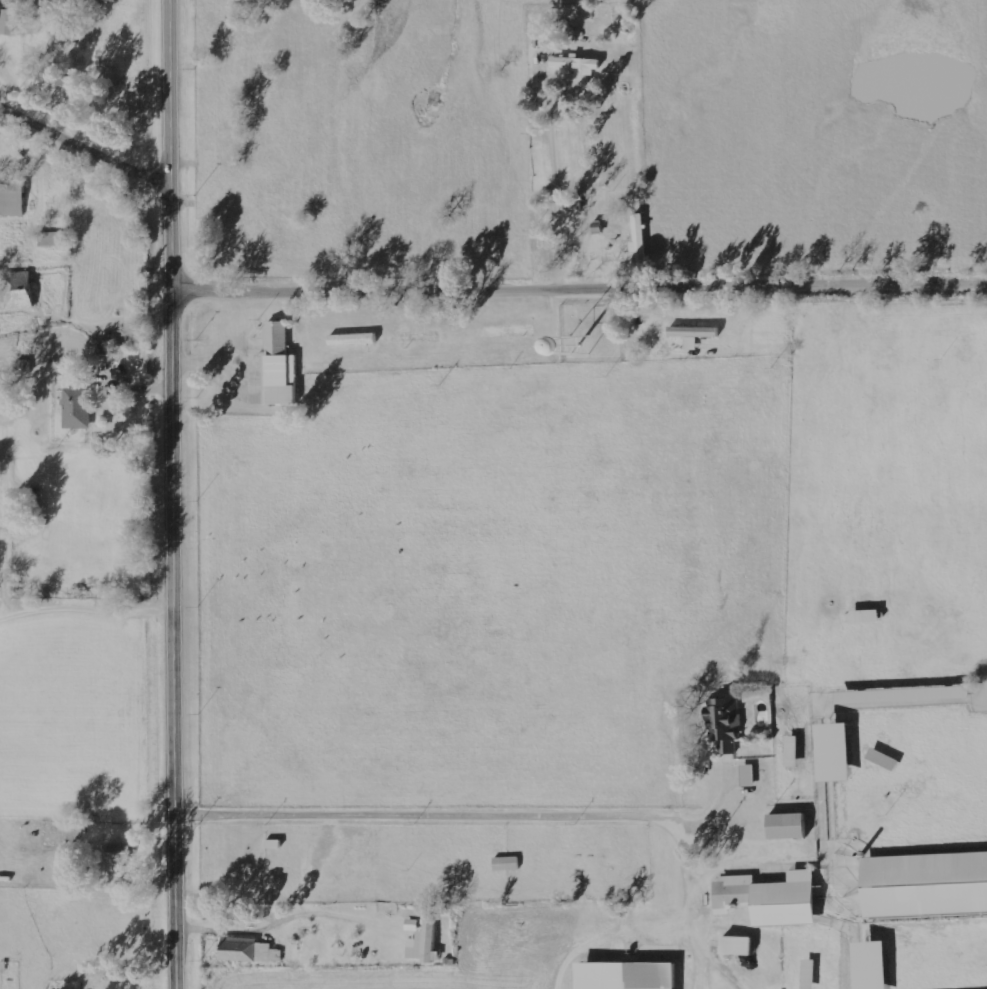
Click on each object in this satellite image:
building: (2, 17)
building: (12, 23)
building: (579, 65)
road: (84, 150)
building: (13, 200)
building: (55, 239)
building: (639, 243)
road: (581, 292)
building: (21, 300)
building: (511, 331)
building: (695, 335)
building: (355, 339)
building: (282, 366)
building: (80, 408)
road: (177, 494)
road: (86, 605)
building: (867, 617)
building: (727, 724)
building: (794, 752)
building: (839, 753)
building: (749, 776)
building: (790, 826)
building: (56, 833)
building: (121, 856)
building: (508, 864)
building: (927, 884)
building: (773, 898)
road: (607, 913)
building: (427, 943)
building: (741, 946)
building: (250, 951)
building: (875, 965)
building: (629, 976)

